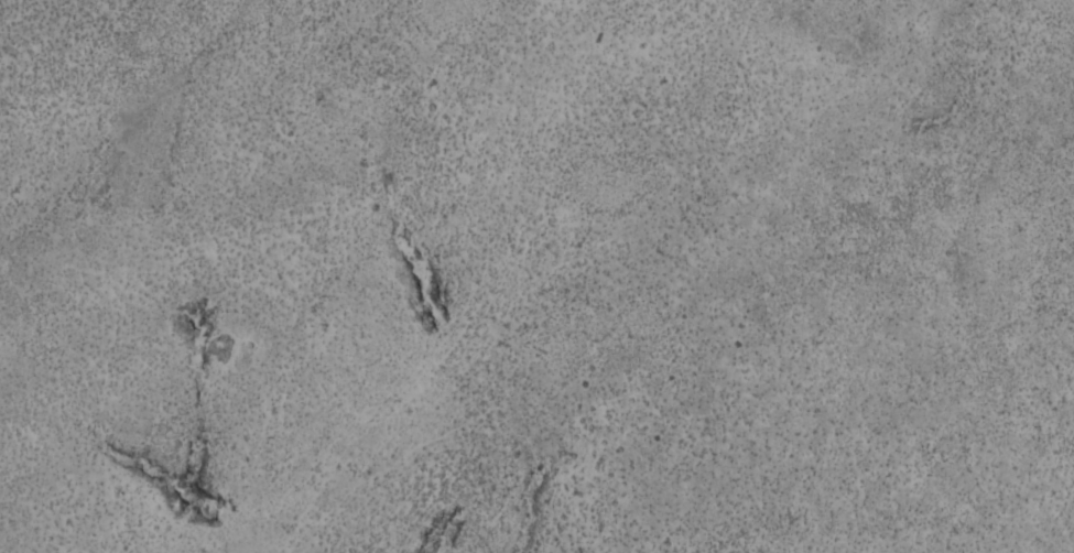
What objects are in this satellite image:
road: (120, 130)

